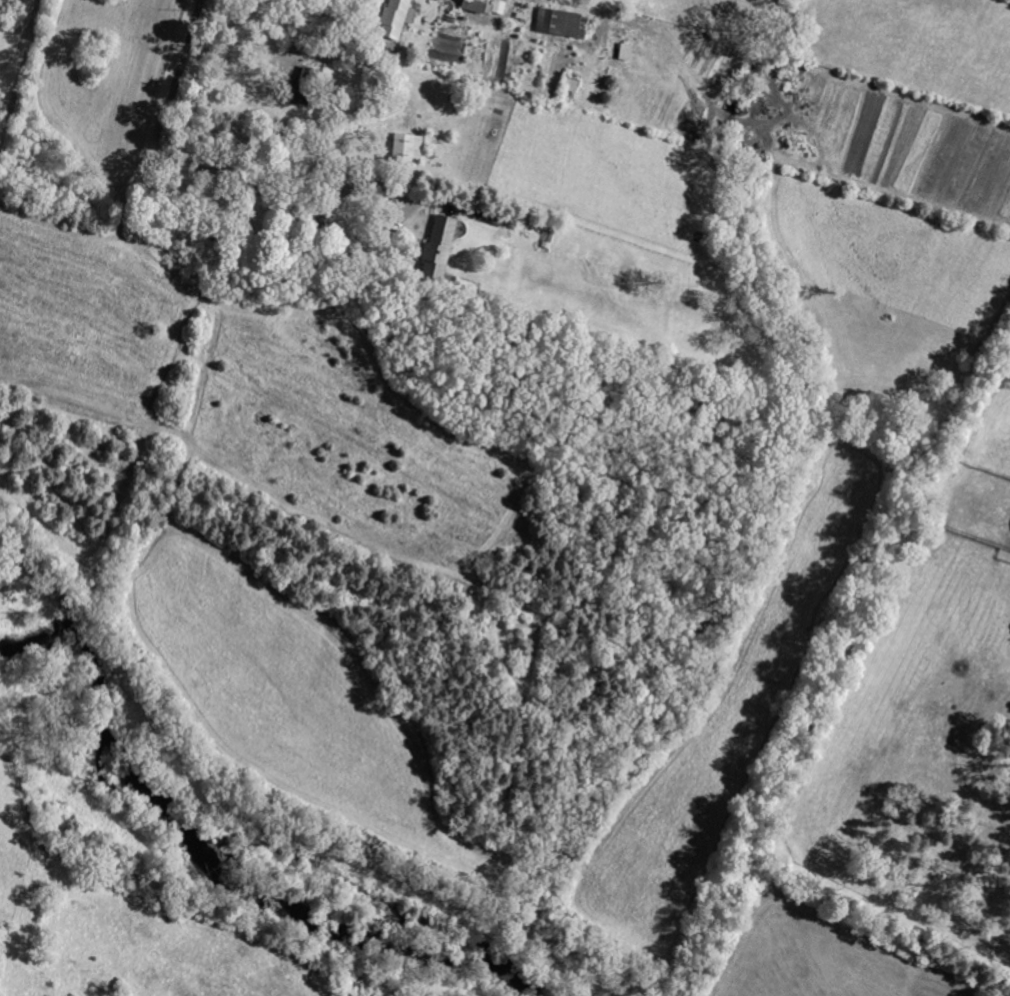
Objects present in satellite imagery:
building: (476, 6)
building: (498, 8)
building: (395, 18)
building: (625, 52)
road: (182, 57)
road: (309, 57)
building: (407, 149)
road: (259, 195)
building: (437, 249)

